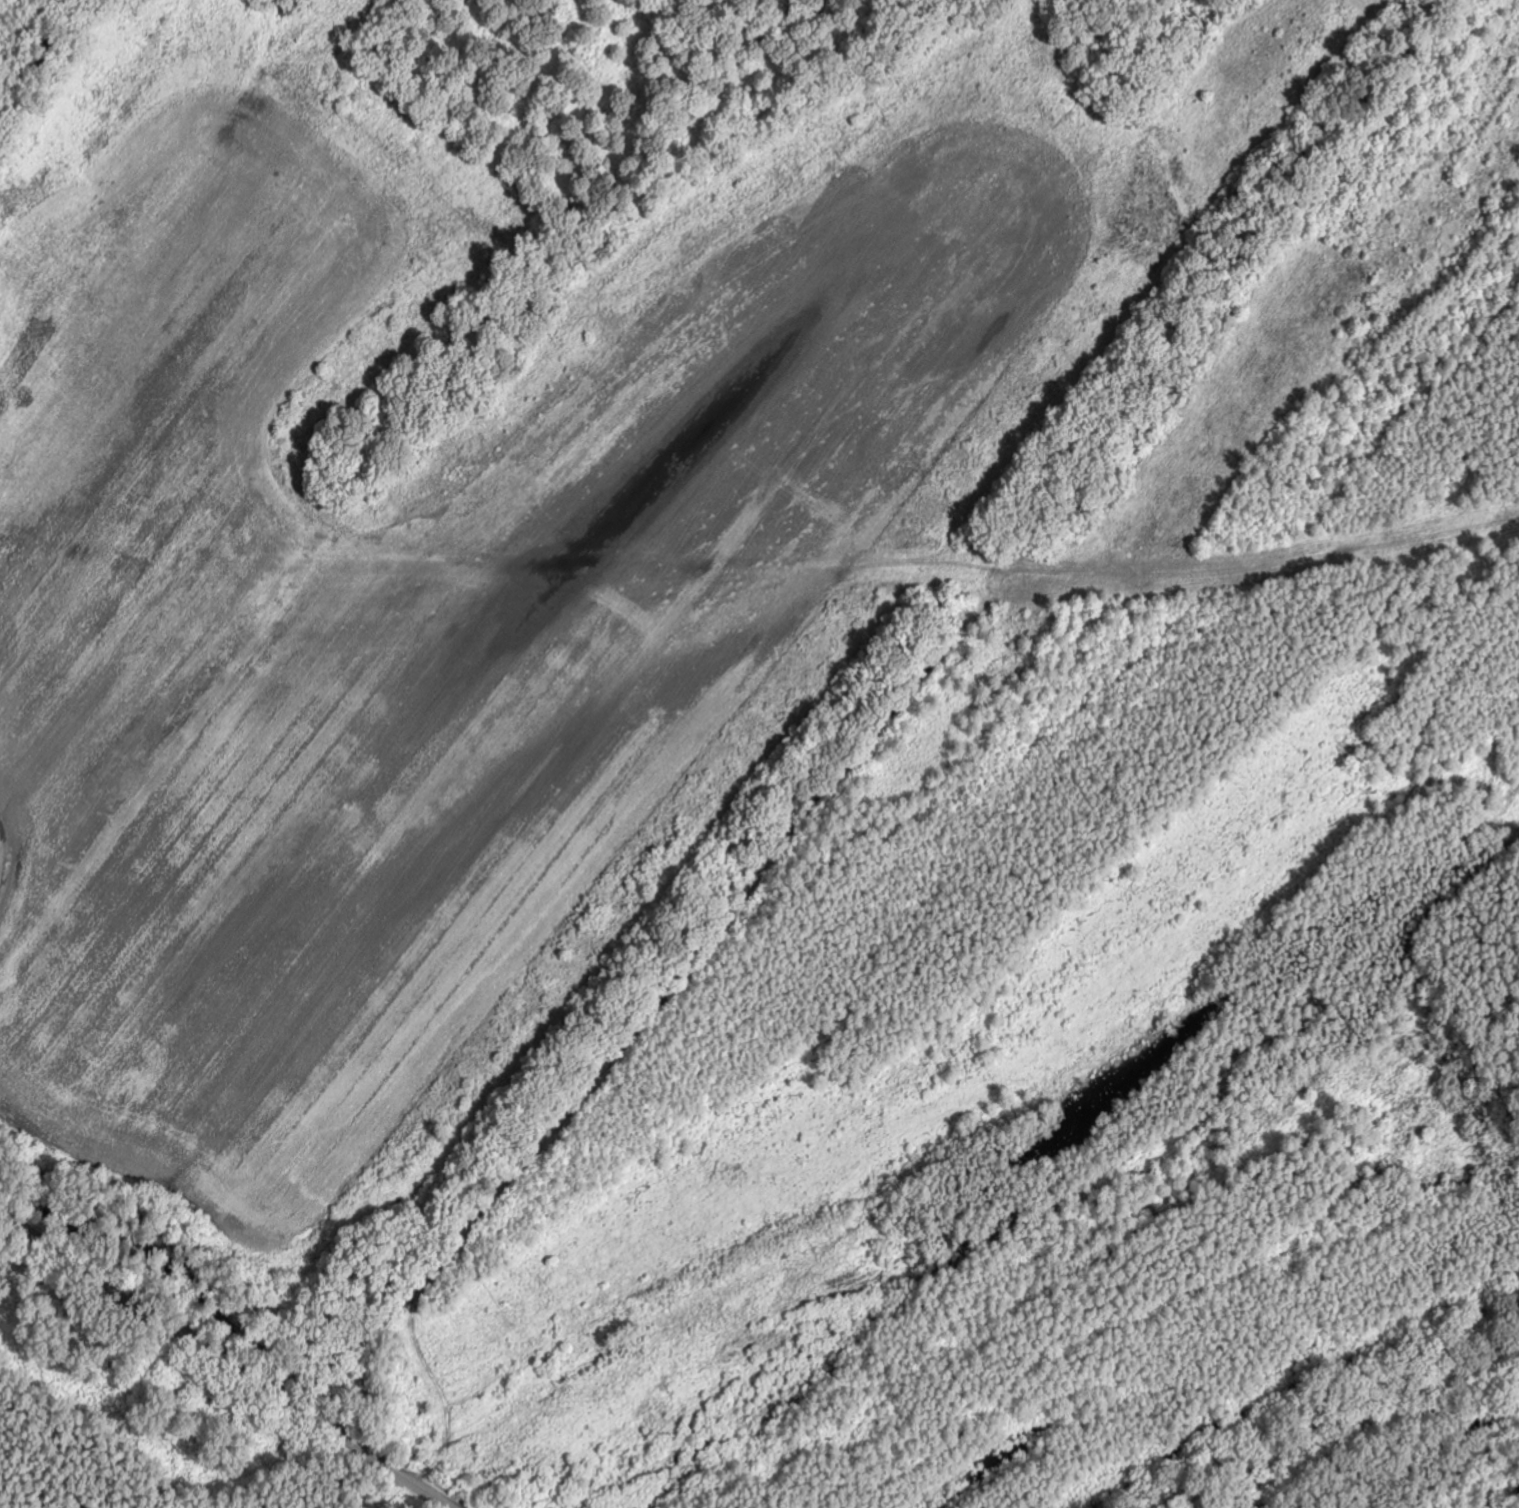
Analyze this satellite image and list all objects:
road: (222, 1360)

